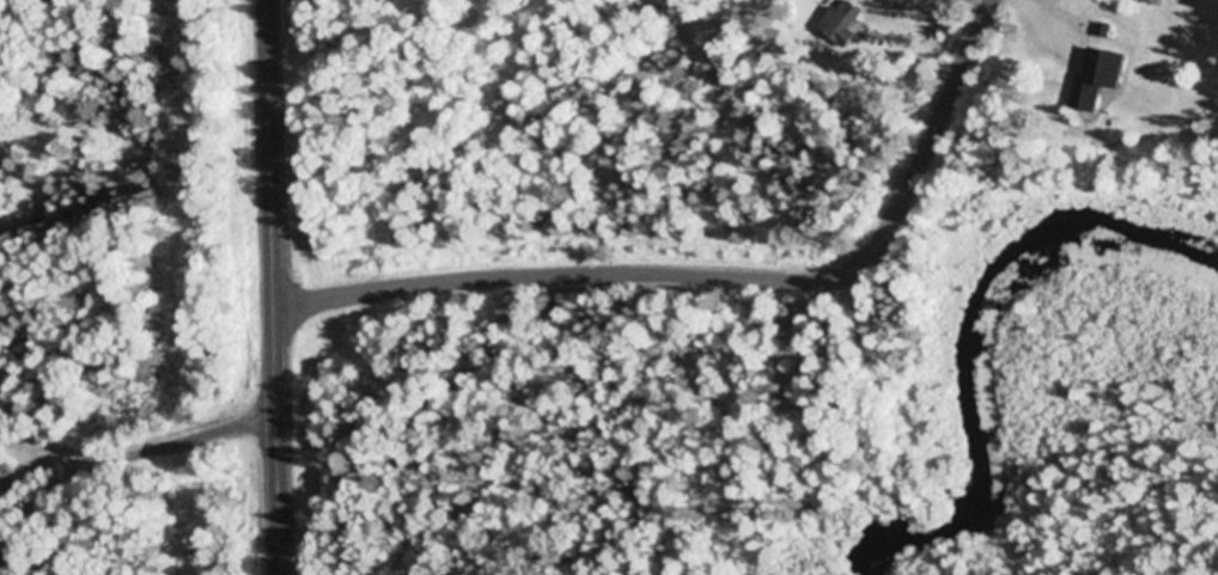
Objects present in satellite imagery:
building: (844, 20)
road: (718, 273)
road: (278, 287)
river: (985, 357)
road: (139, 374)

